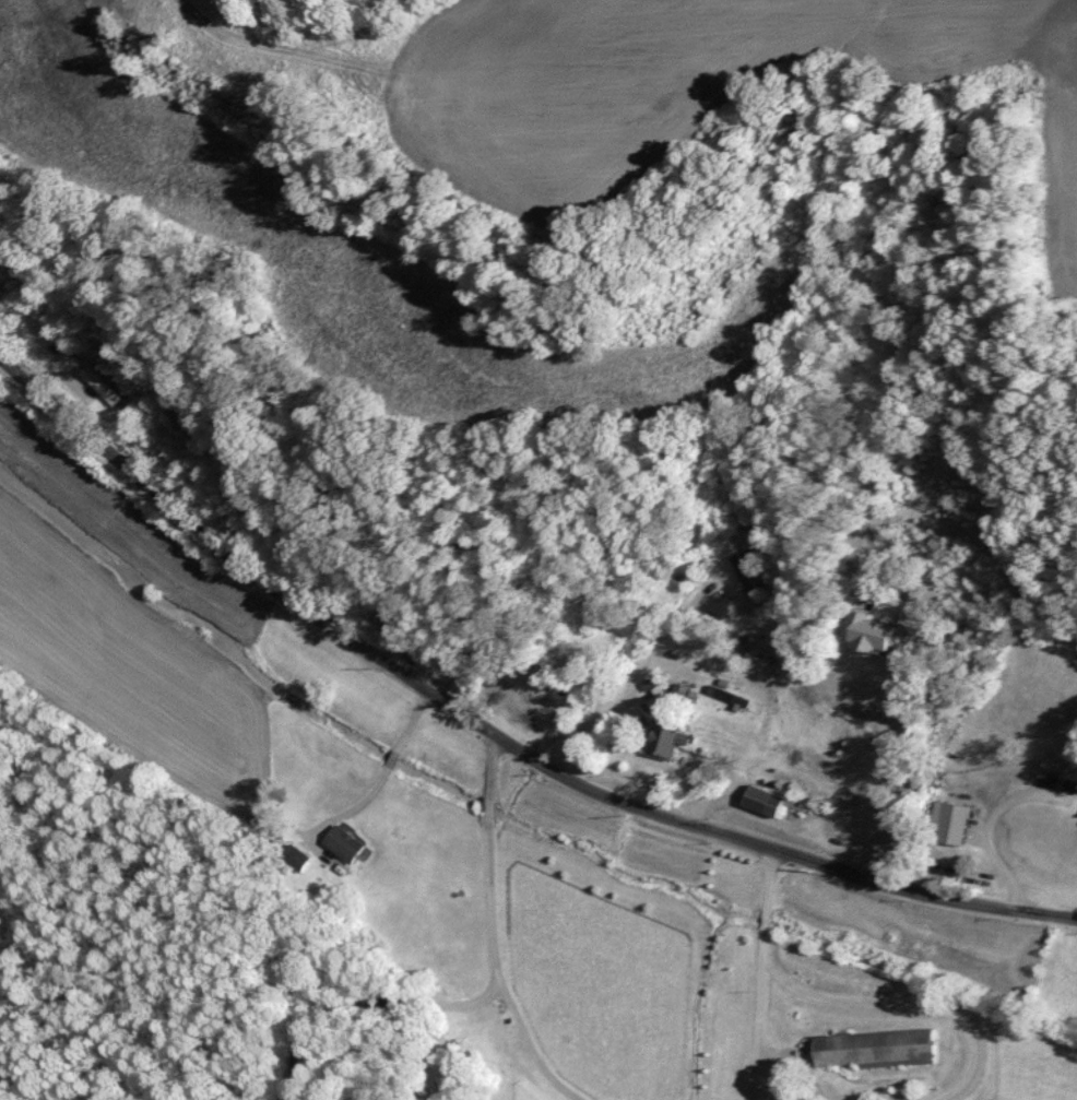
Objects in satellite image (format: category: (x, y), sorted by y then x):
building: (862, 634)
building: (464, 685)
building: (678, 693)
road: (490, 731)
building: (758, 802)
building: (948, 824)
building: (340, 842)
building: (295, 857)
road: (853, 1001)
road: (756, 1026)
building: (869, 1046)

